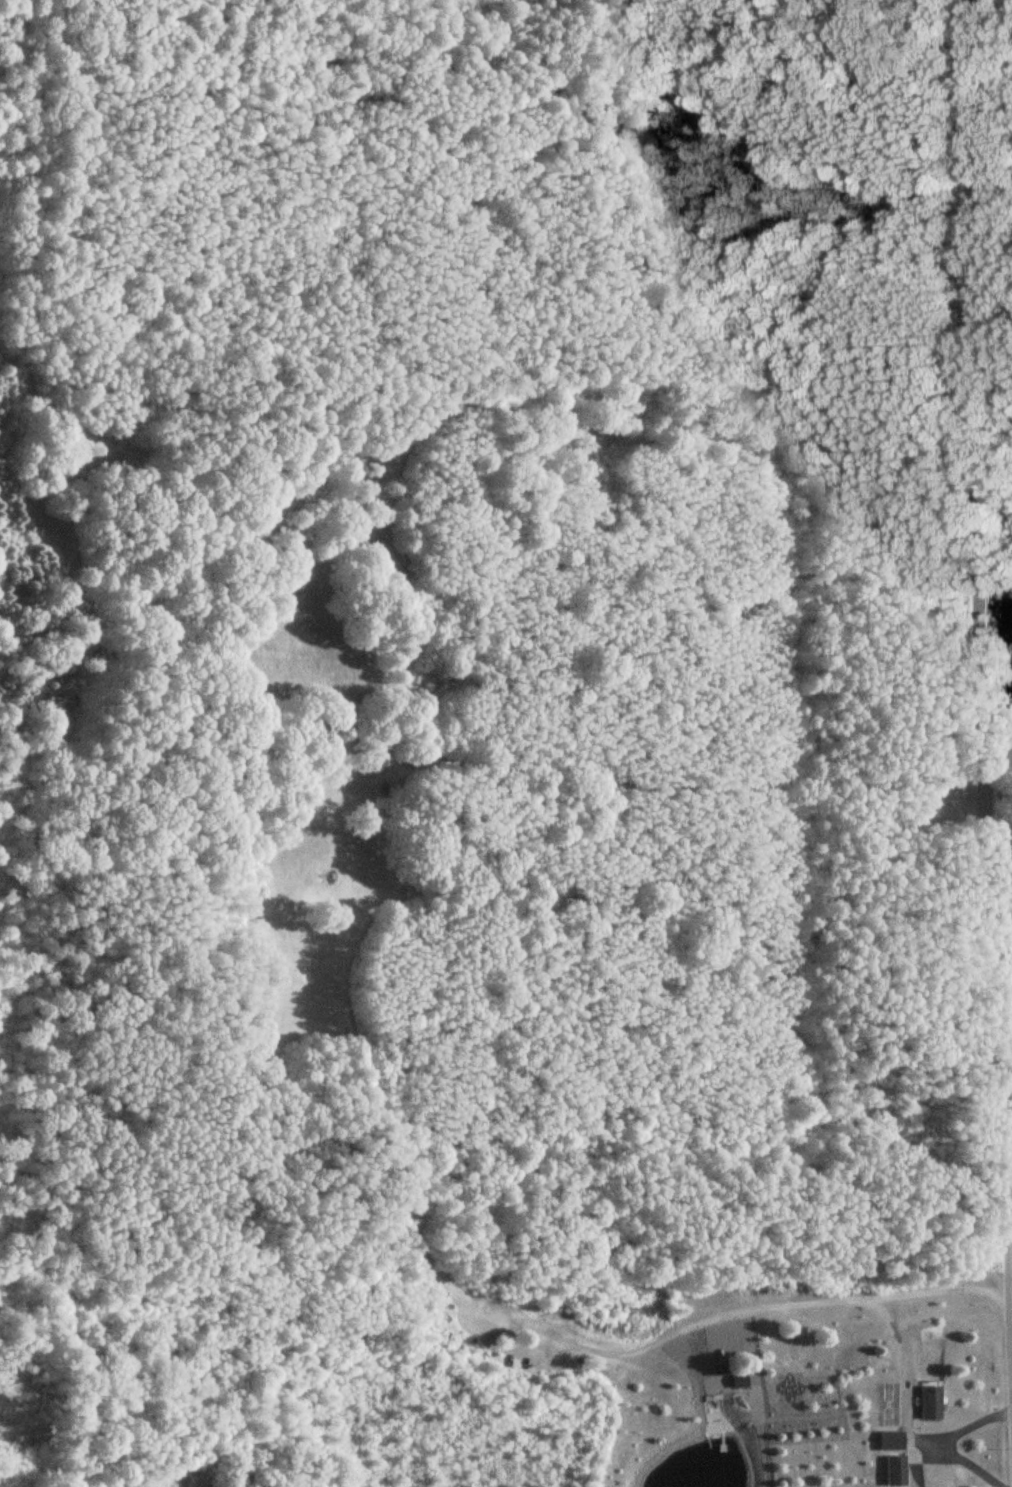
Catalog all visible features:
road: (972, 686)
building: (737, 1380)
building: (928, 1402)
building: (890, 1441)
building: (894, 1471)

